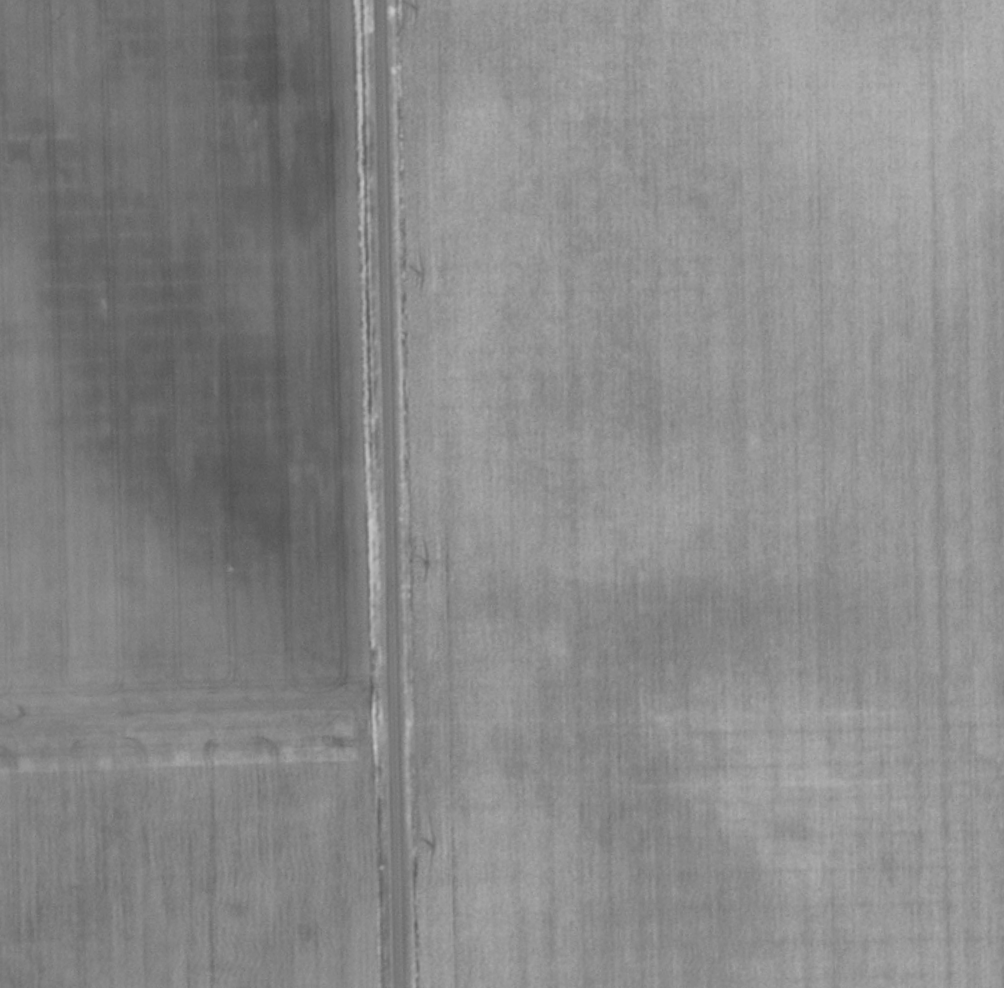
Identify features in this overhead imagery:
road: (389, 494)

